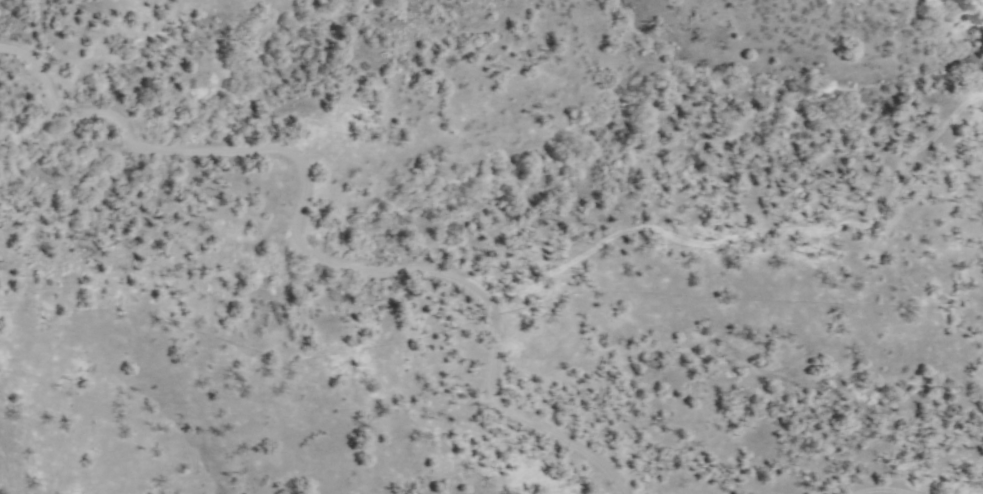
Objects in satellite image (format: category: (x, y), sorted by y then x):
road: (368, 227)

